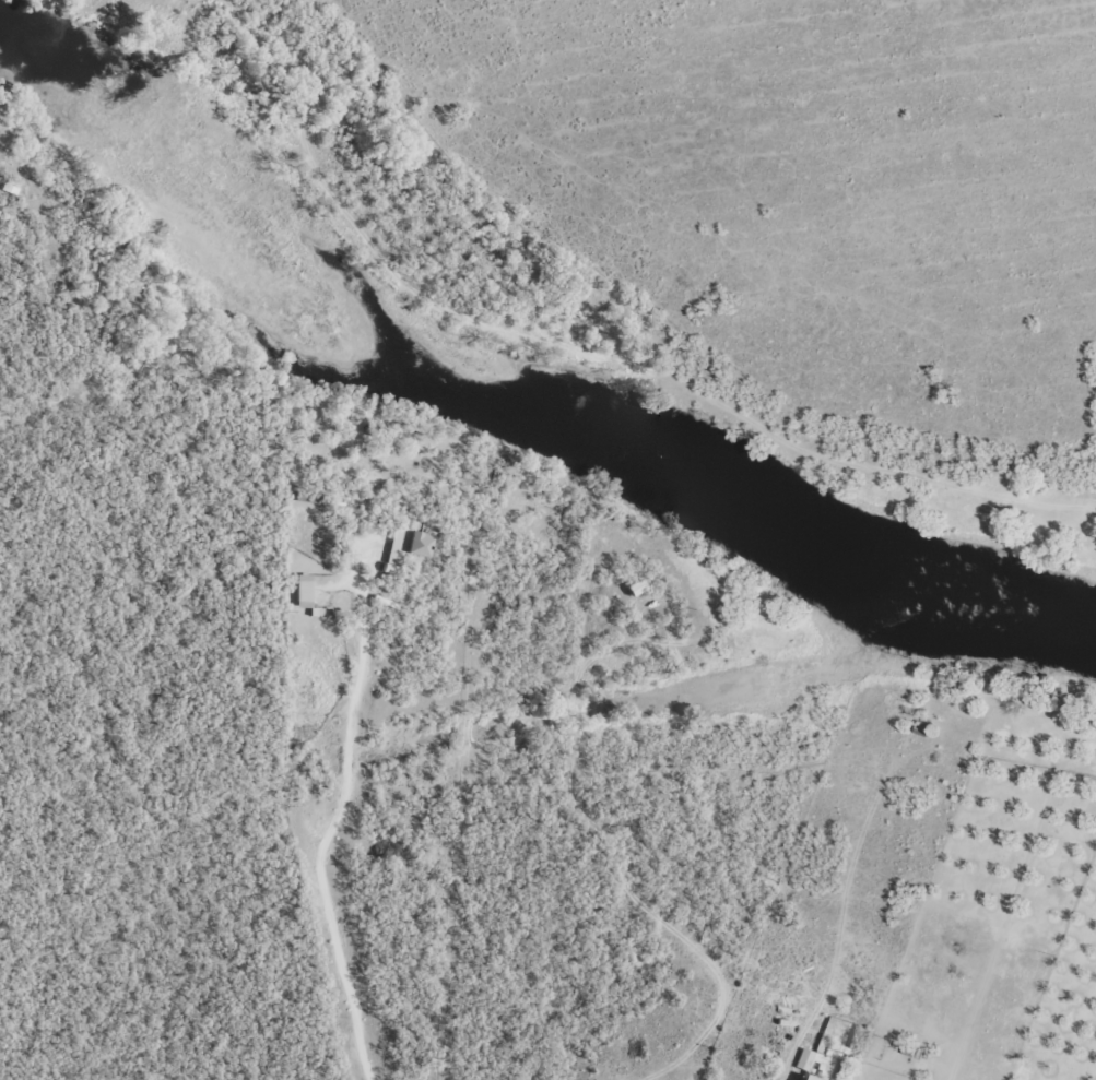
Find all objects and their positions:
road: (650, 258)
river: (499, 414)
building: (403, 546)
building: (633, 586)
building: (300, 590)
road: (113, 995)
building: (820, 1042)
building: (802, 1058)
building: (802, 1078)

